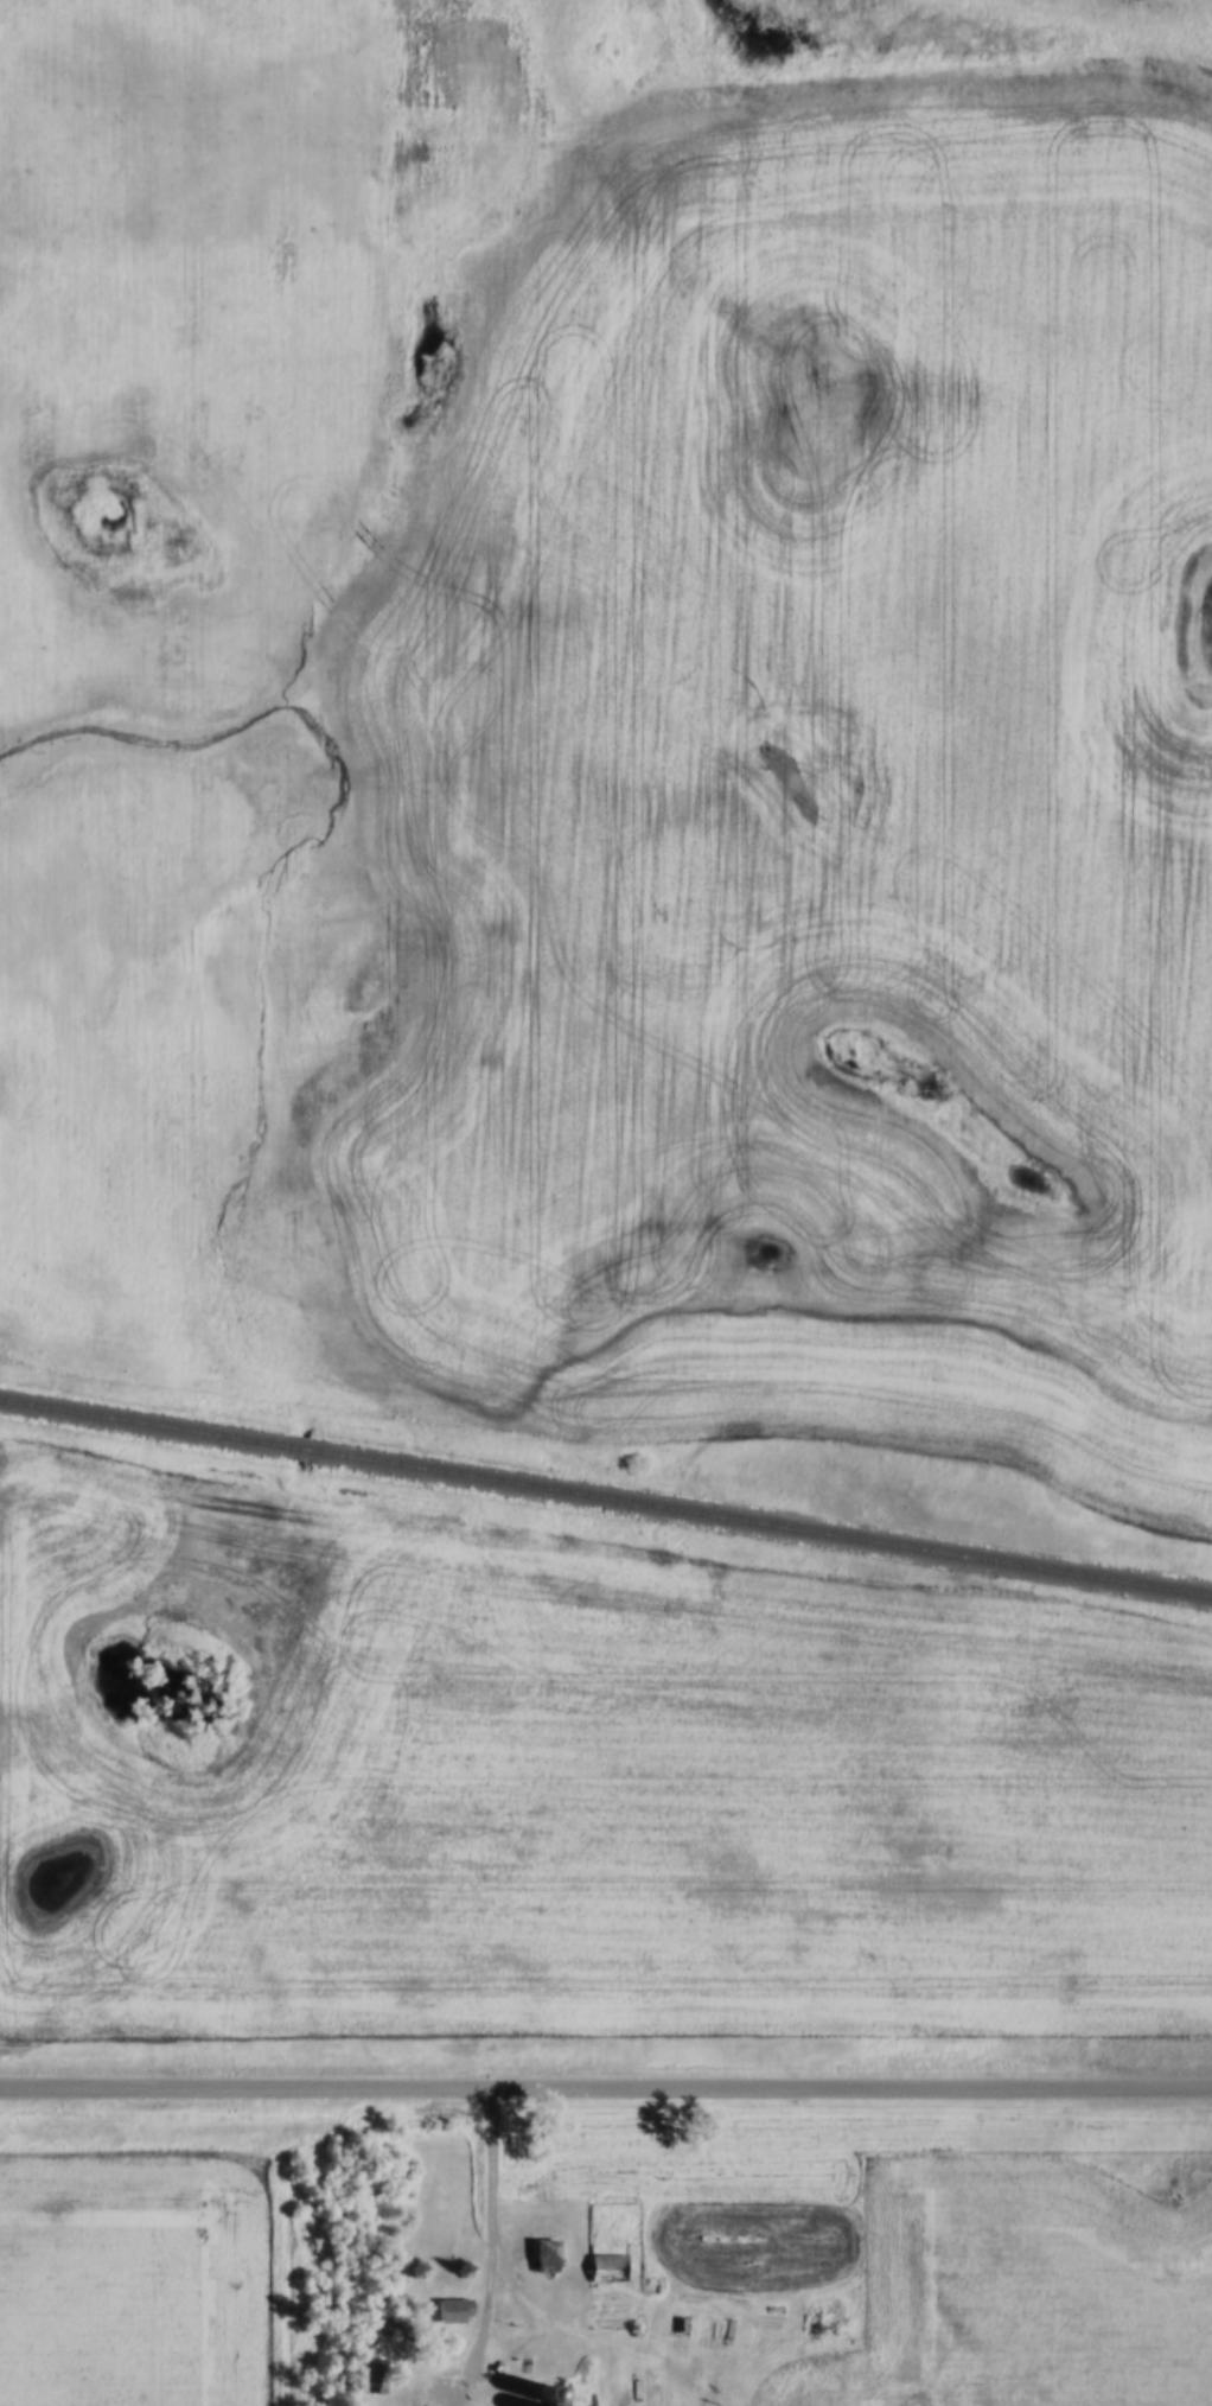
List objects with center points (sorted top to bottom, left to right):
railway: (606, 1498)
road: (606, 2084)
building: (544, 2257)
building: (607, 2268)
building: (452, 2311)
building: (376, 2375)
building: (540, 2395)

